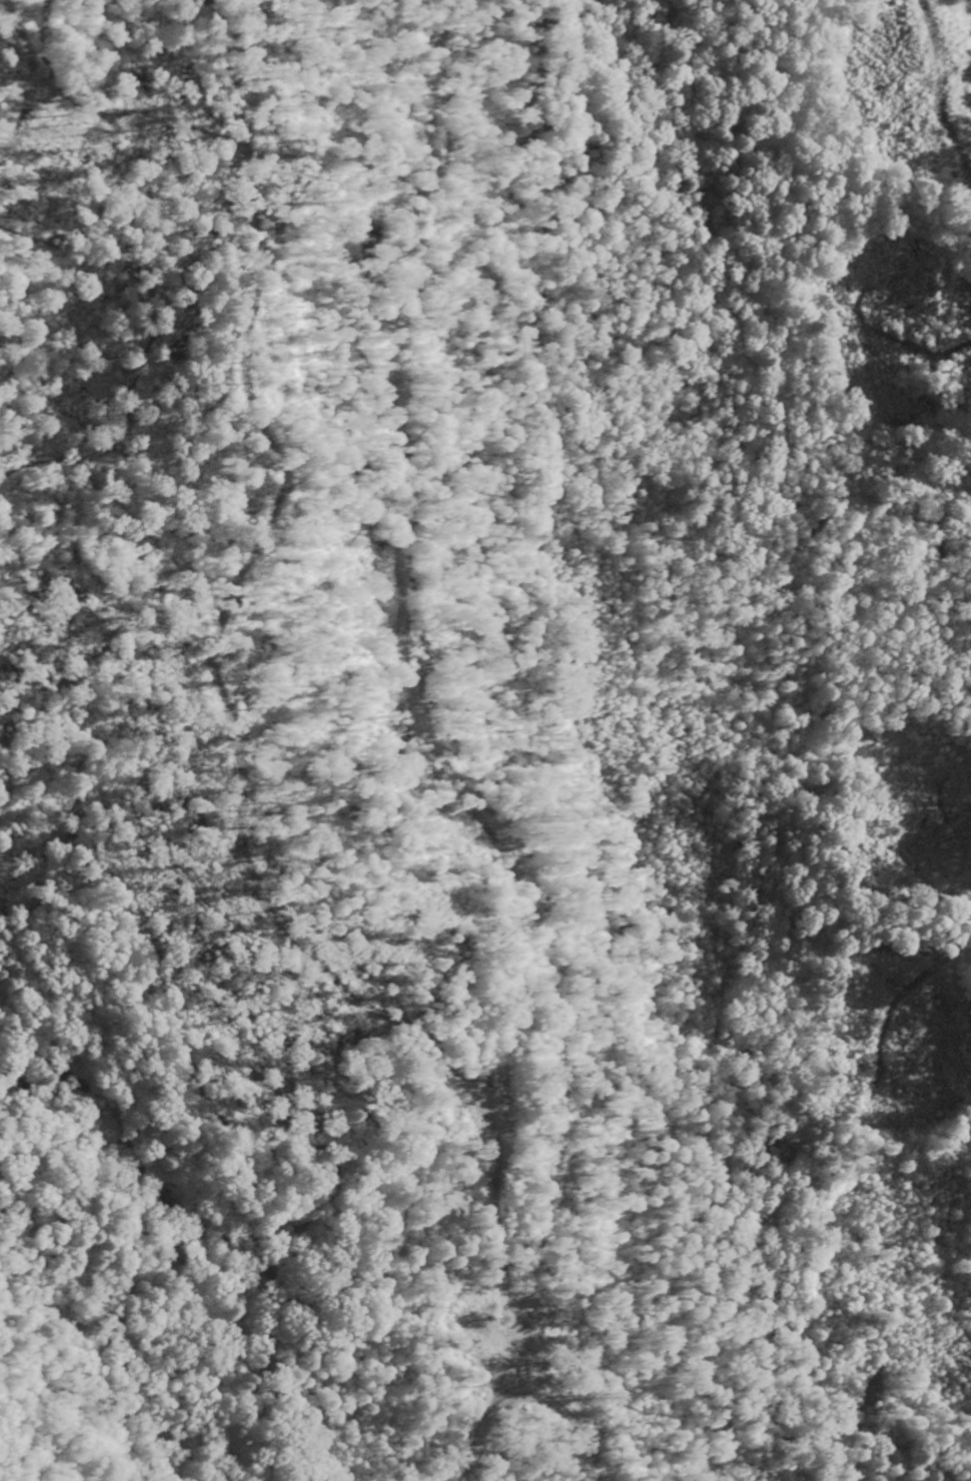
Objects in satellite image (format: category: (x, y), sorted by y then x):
road: (205, 1224)
road: (492, 1418)
road: (569, 1442)

